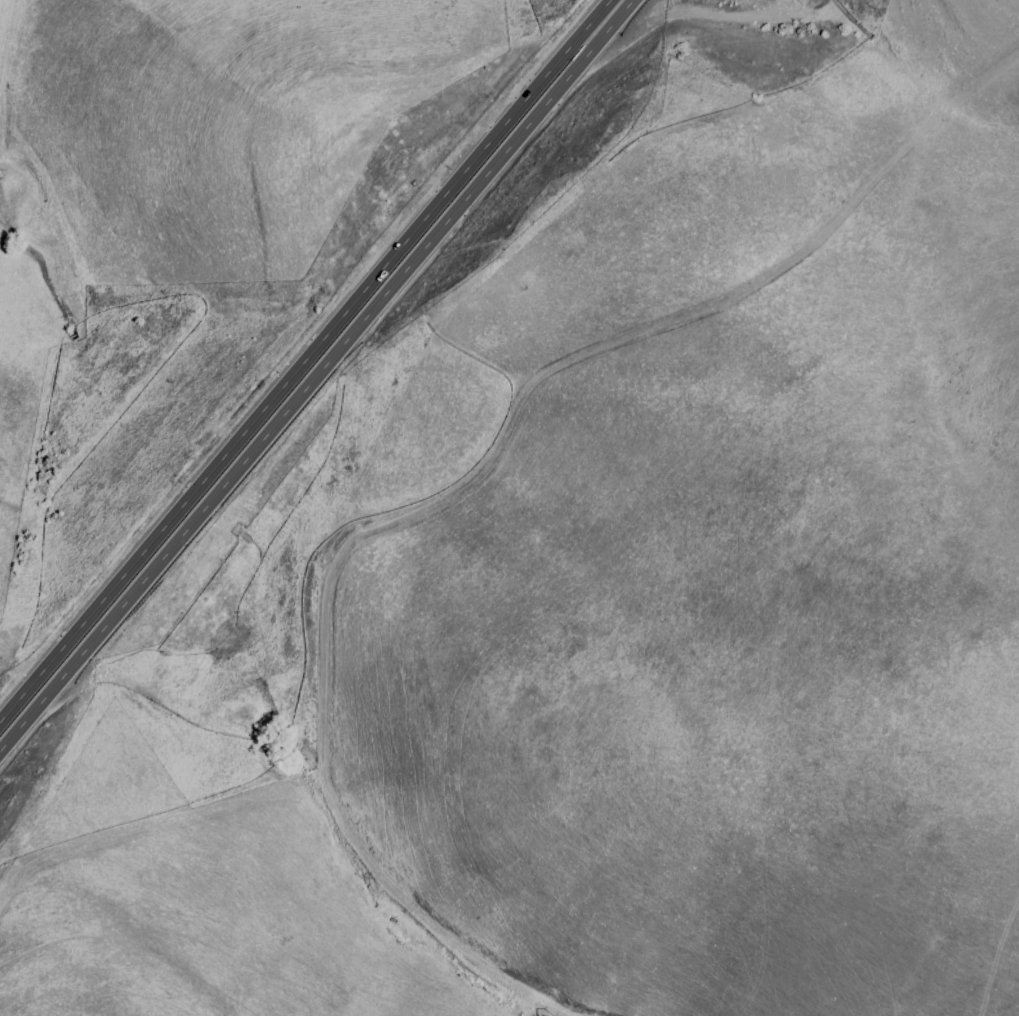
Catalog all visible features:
road: (9, 44)
road: (303, 356)
road: (313, 376)

